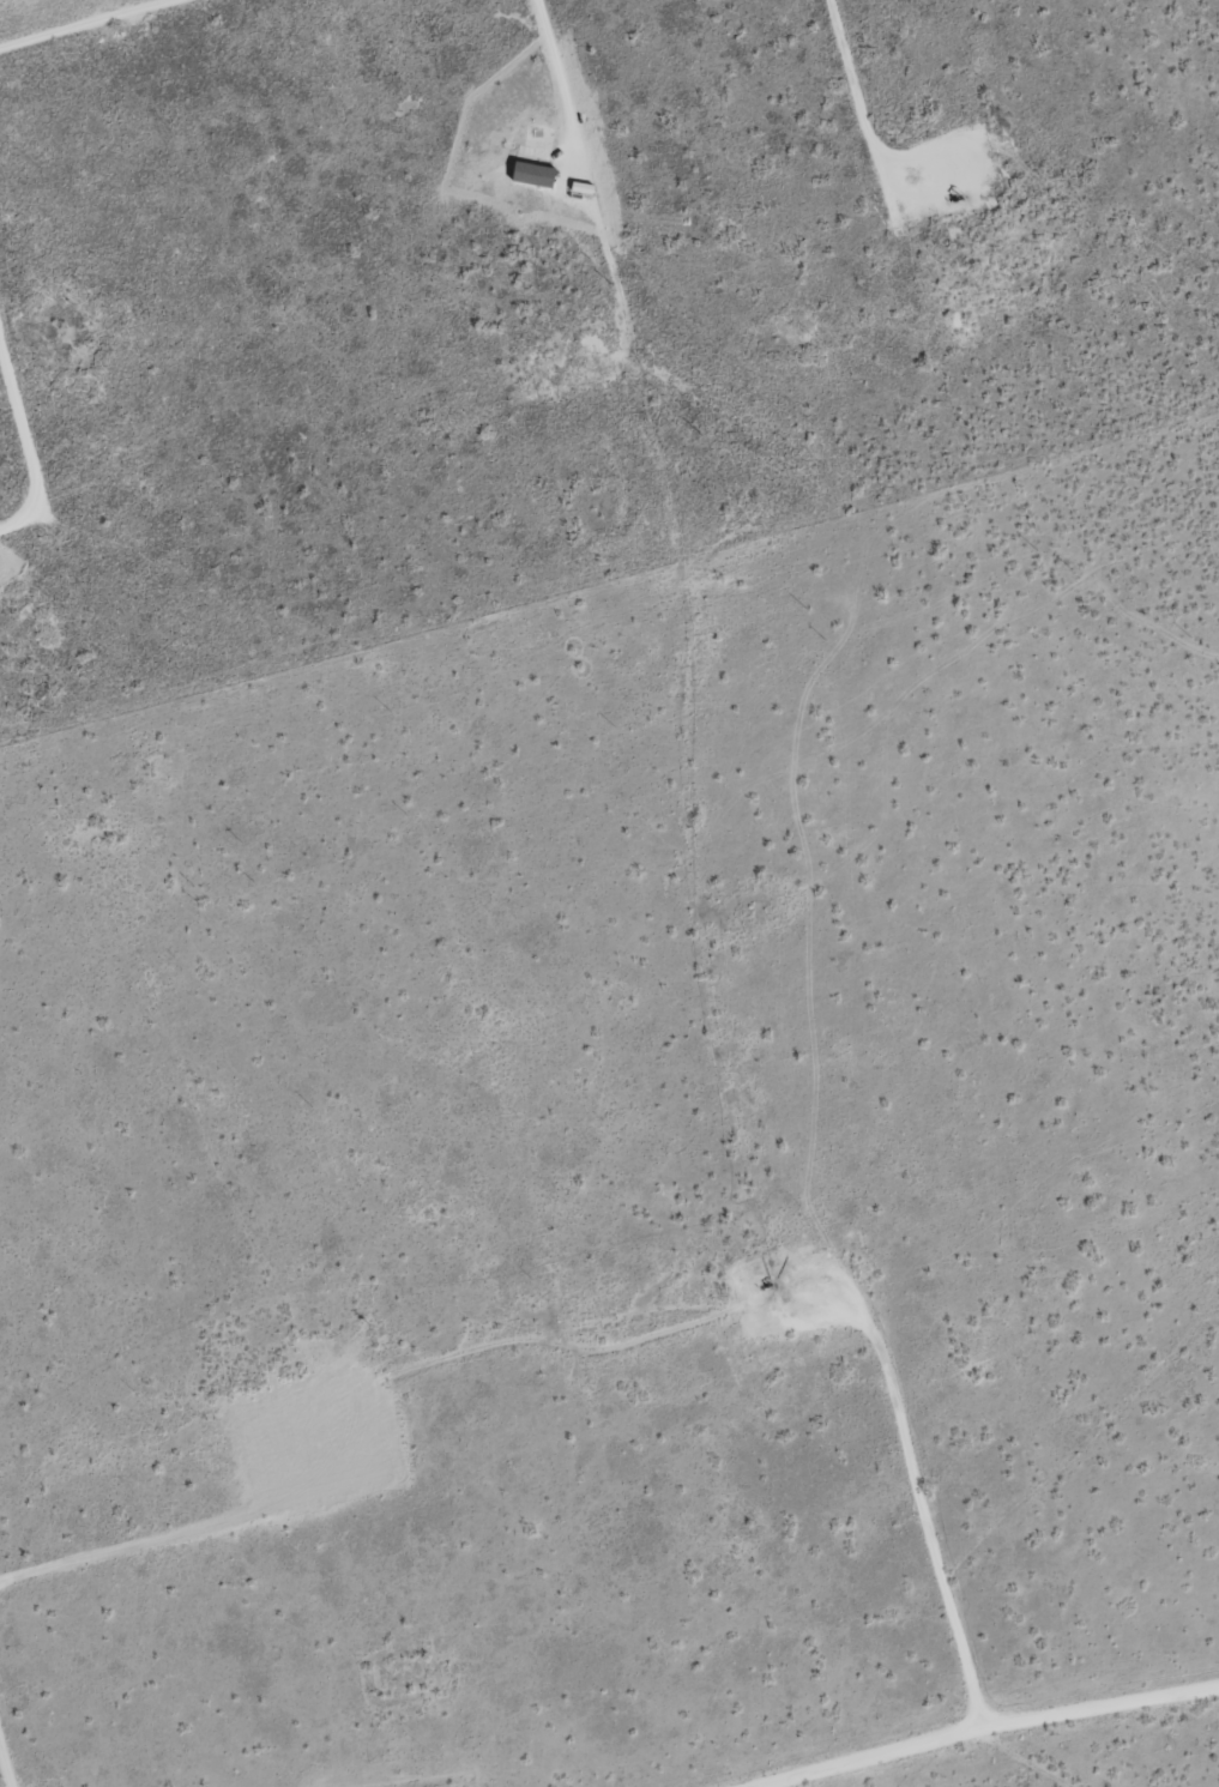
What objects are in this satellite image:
road: (76, 20)
road: (595, 199)
road: (958, 1644)
road: (4, 1768)

